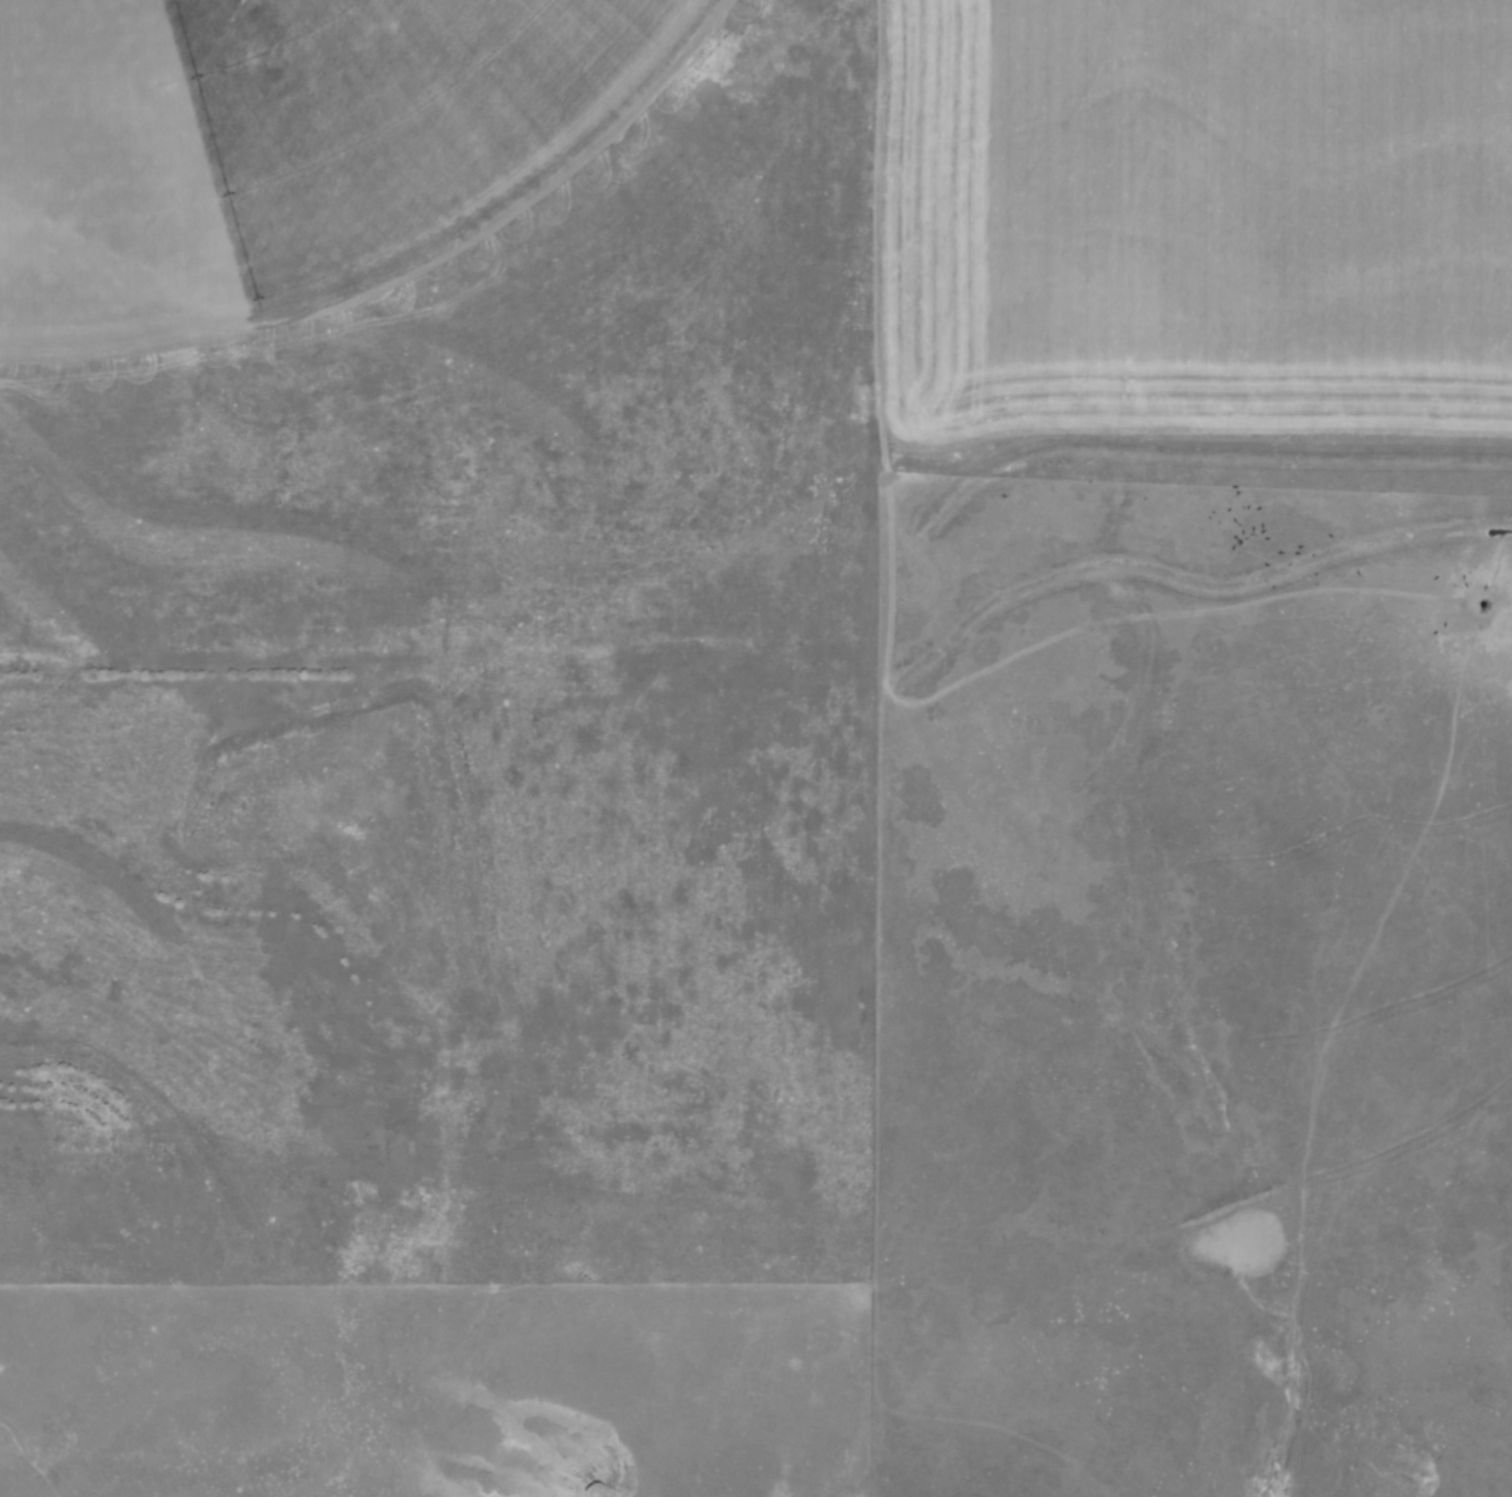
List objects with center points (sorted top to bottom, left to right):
crop: (285, 147)
building: (615, 183)
crop: (1198, 219)

